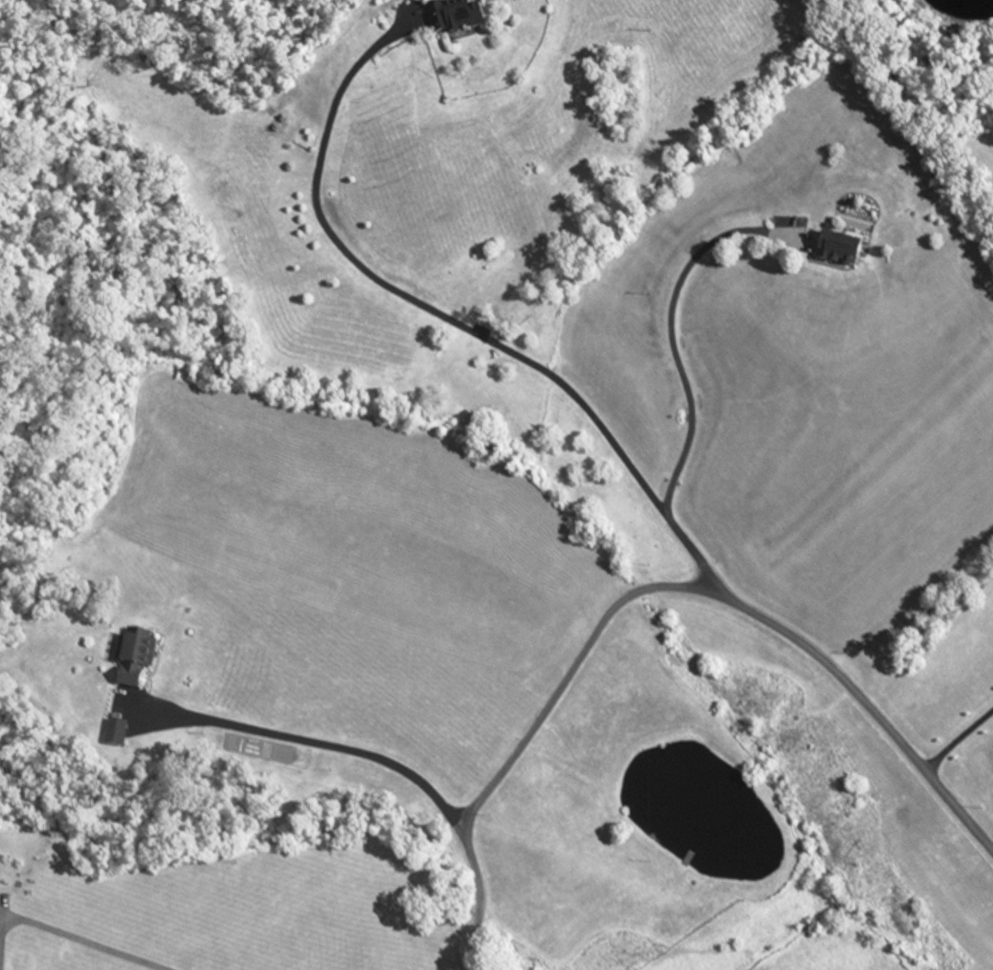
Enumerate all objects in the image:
building: (448, 18)
road: (918, 112)
building: (834, 253)
road: (446, 322)
road: (669, 340)
building: (129, 656)
road: (544, 707)
road: (865, 708)
building: (110, 733)
road: (958, 738)
road: (311, 745)
road: (74, 935)
road: (480, 936)

